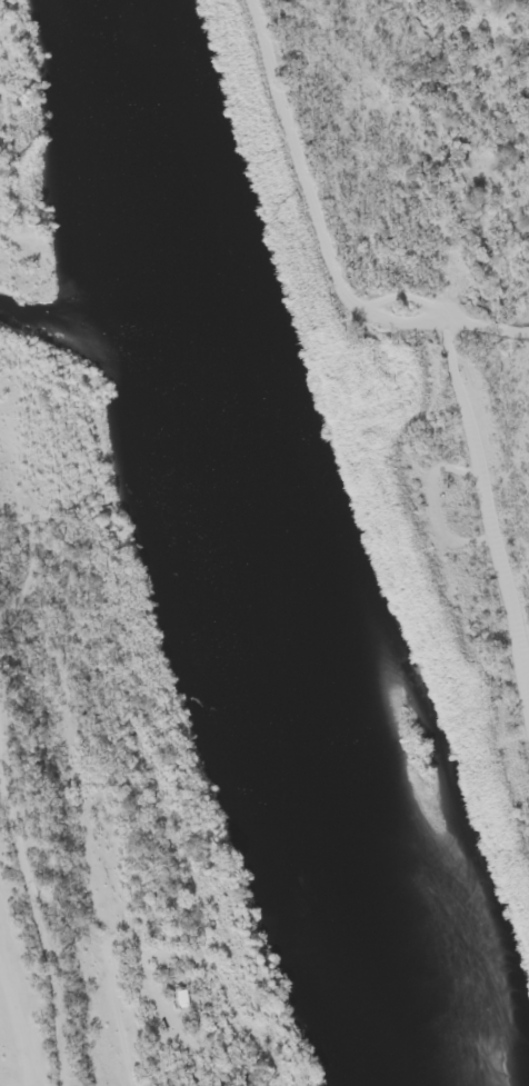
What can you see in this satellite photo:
road: (461, 159)
river: (263, 545)

